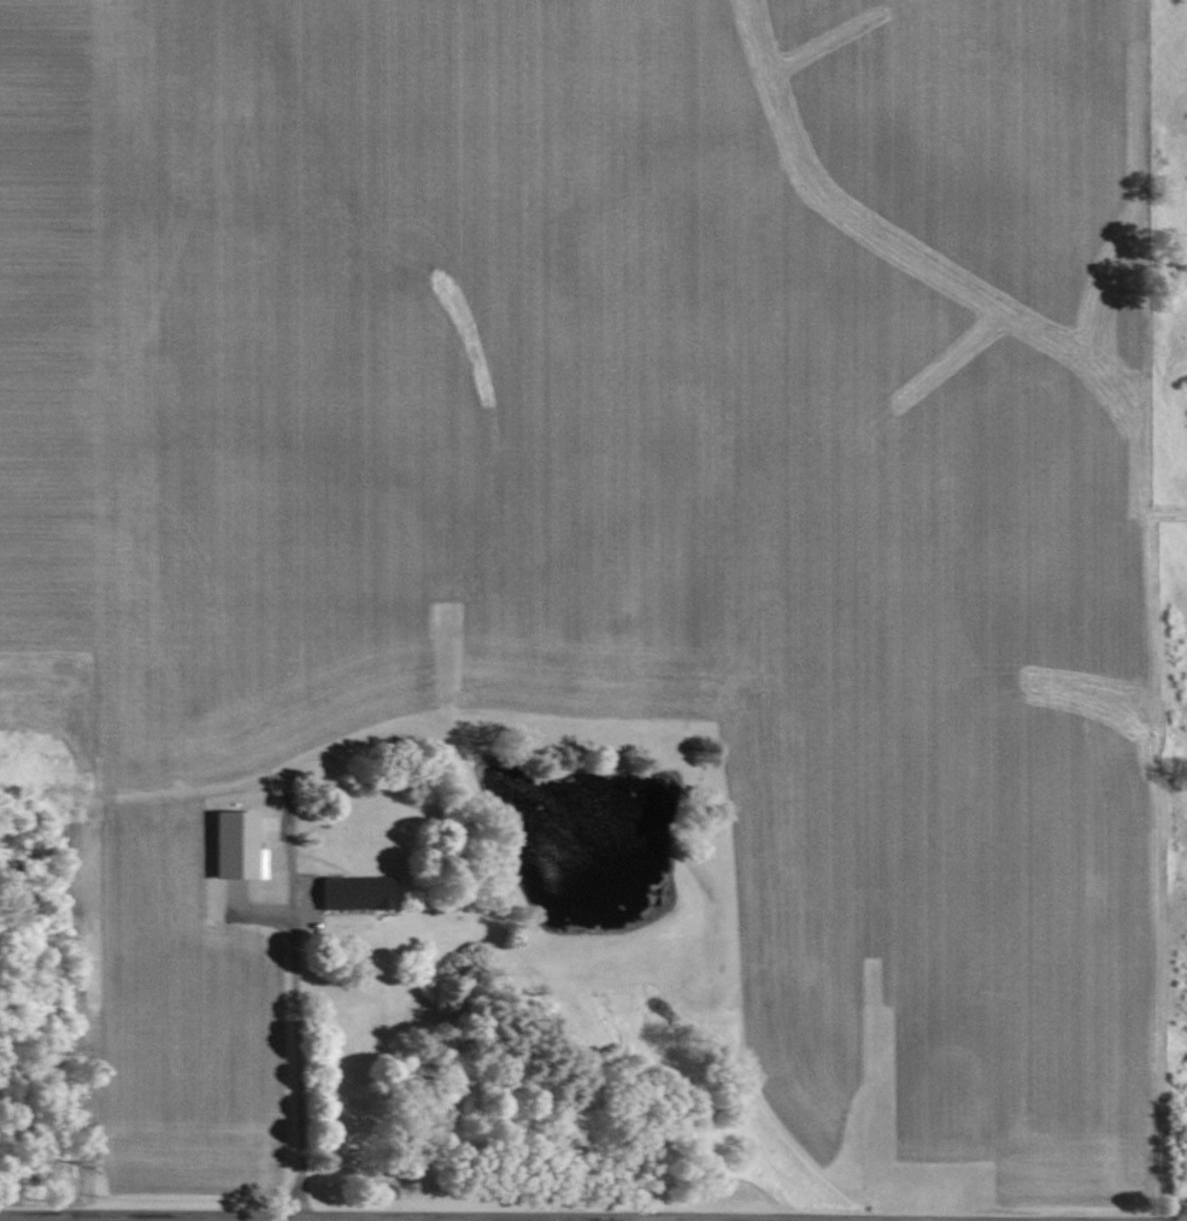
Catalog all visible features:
building: (233, 846)
building: (353, 893)
road: (296, 1069)
road: (465, 1214)
road: (427, 1217)

